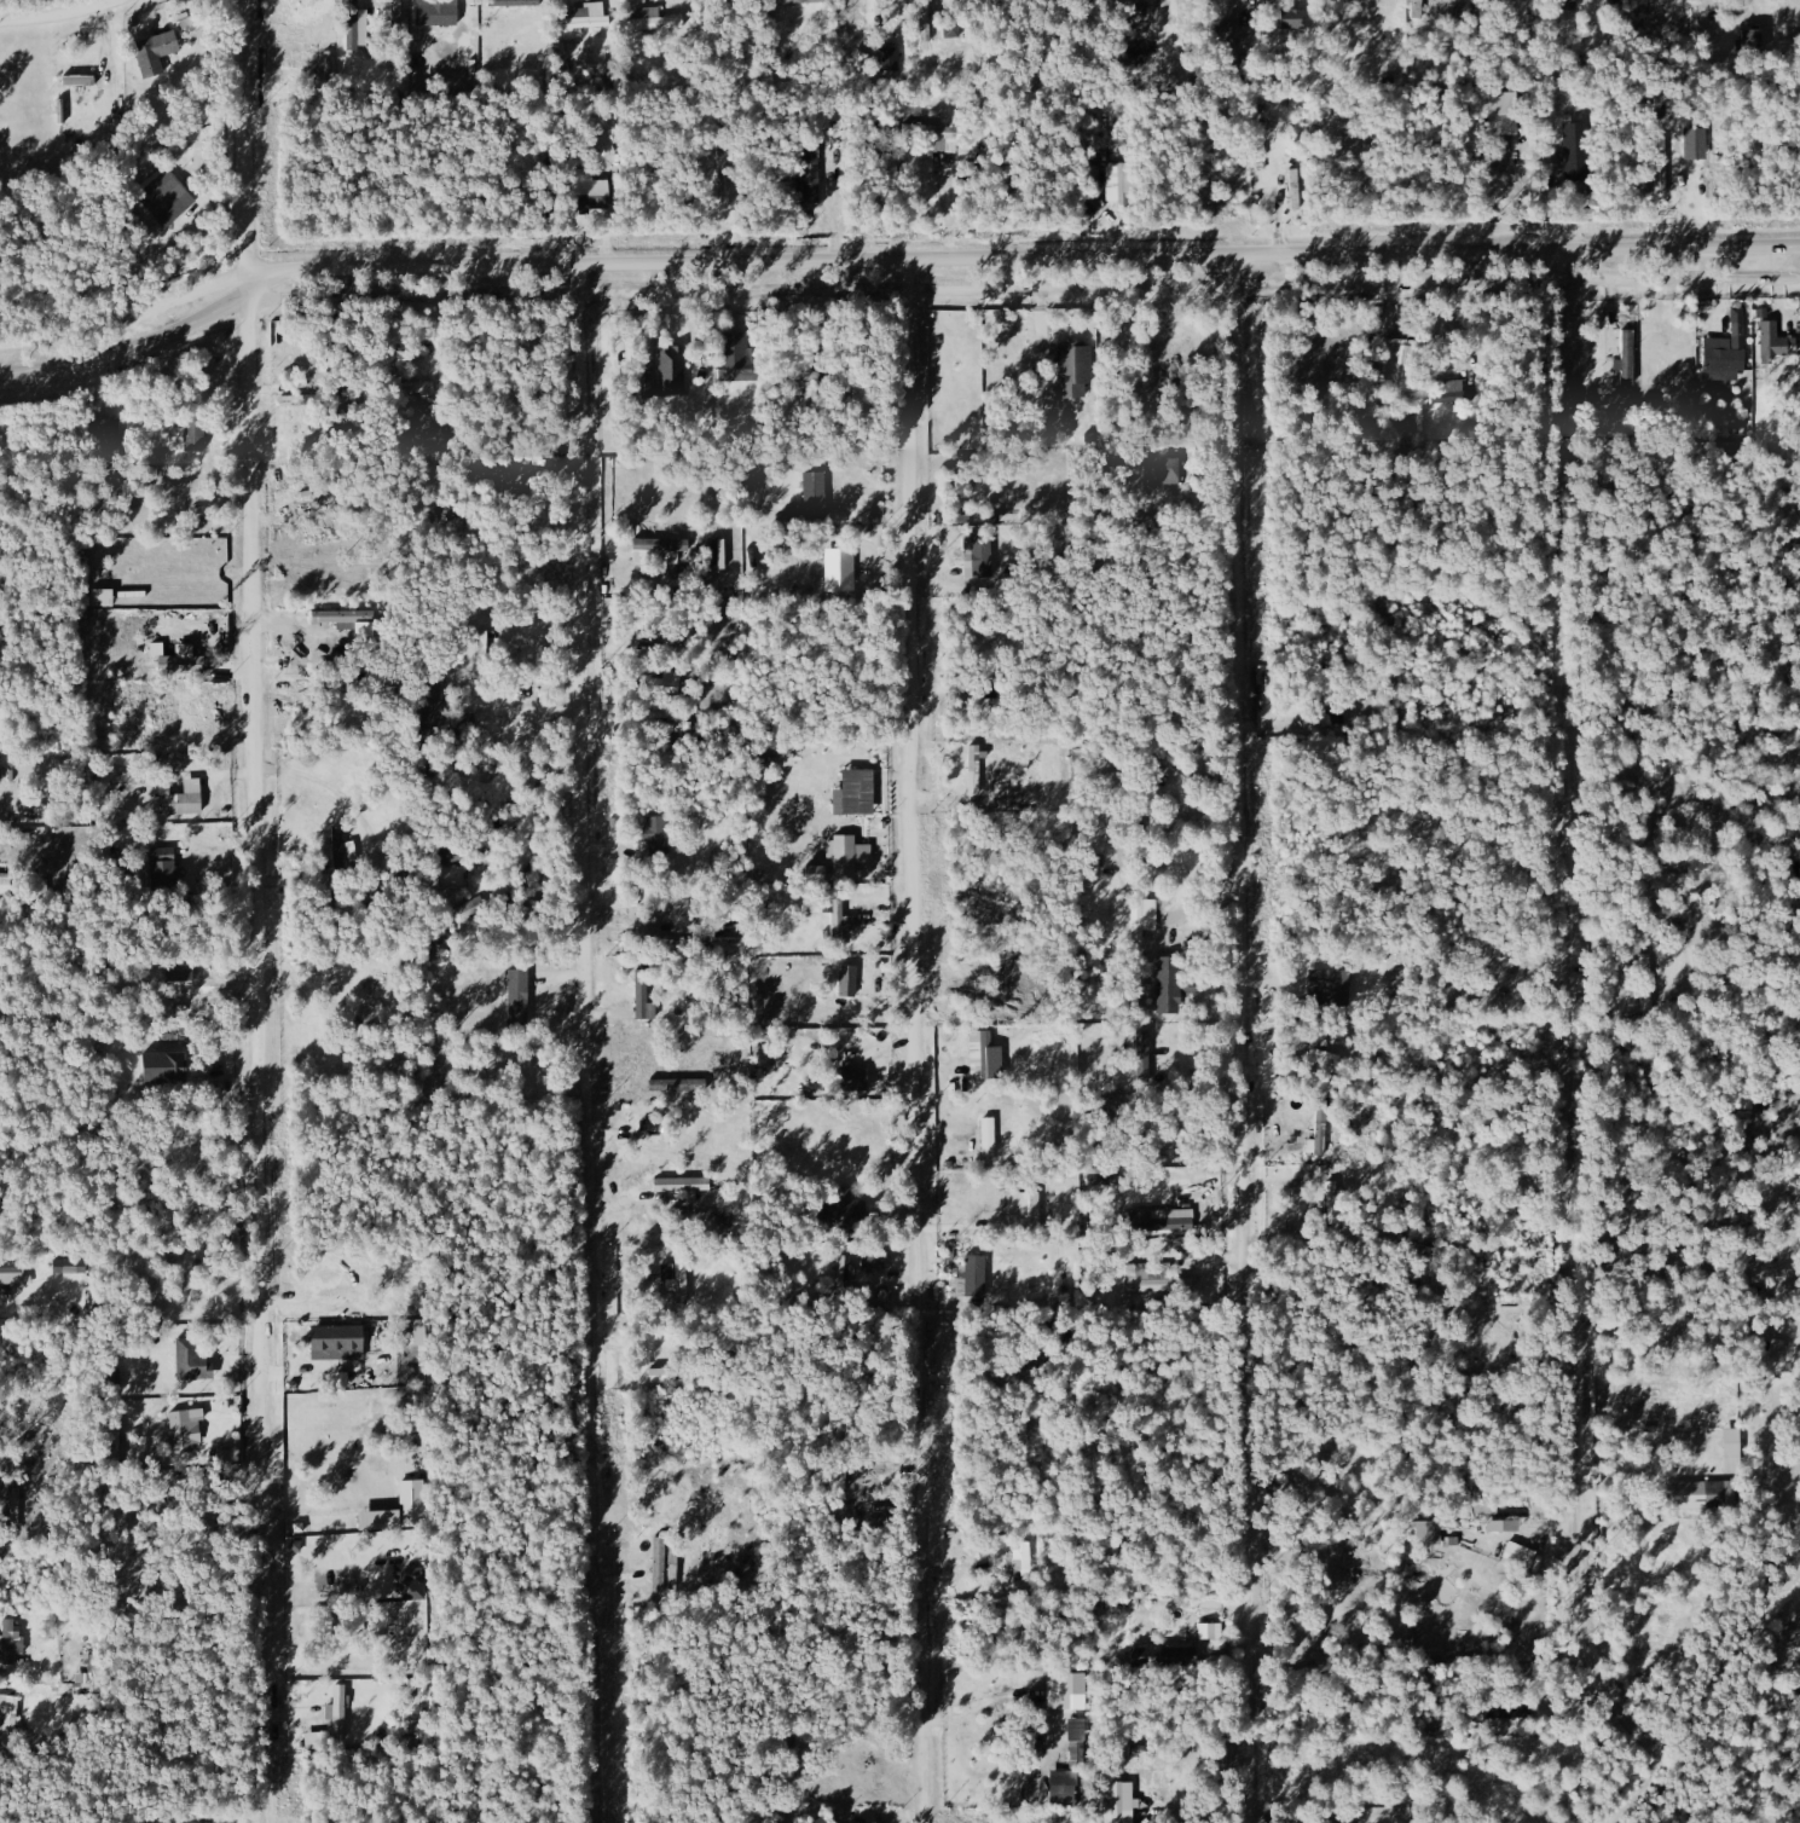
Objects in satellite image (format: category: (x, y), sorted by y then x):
building: (804, 1)
building: (515, 2)
building: (1568, 5)
road: (48, 8)
building: (1418, 8)
building: (436, 15)
building: (588, 17)
building: (654, 21)
building: (926, 22)
building: (353, 25)
building: (953, 27)
building: (1235, 33)
building: (1748, 41)
building: (155, 50)
building: (890, 58)
building: (79, 80)
building: (1501, 103)
building: (936, 135)
building: (1574, 152)
building: (812, 170)
building: (1119, 183)
building: (590, 184)
building: (1297, 189)
building: (168, 195)
road: (893, 254)
road: (895, 290)
building: (1776, 343)
building: (1724, 358)
building: (1627, 360)
building: (1403, 363)
building: (739, 368)
building: (672, 370)
building: (1072, 370)
building: (195, 434)
building: (104, 436)
building: (1162, 470)
building: (491, 474)
building: (815, 494)
building: (659, 550)
building: (718, 554)
building: (994, 556)
building: (845, 566)
building: (102, 598)
building: (349, 620)
building: (176, 662)
building: (658, 713)
building: (758, 787)
building: (858, 792)
building: (179, 803)
building: (655, 833)
building: (337, 850)
building: (847, 856)
building: (448, 861)
building: (163, 874)
building: (4, 885)
road: (260, 910)
building: (1144, 915)
building: (838, 921)
building: (849, 980)
building: (1646, 982)
building: (1168, 984)
building: (1338, 988)
building: (519, 997)
road: (1570, 1020)
road: (916, 1037)
road: (1245, 1053)
building: (984, 1055)
road: (589, 1058)
building: (162, 1064)
building: (852, 1080)
building: (1746, 1106)
building: (653, 1125)
building: (1320, 1132)
building: (989, 1134)
building: (1794, 1168)
building: (682, 1183)
building: (840, 1203)
building: (1024, 1209)
building: (74, 1264)
building: (11, 1273)
building: (976, 1275)
building: (677, 1278)
building: (1153, 1278)
building: (336, 1342)
building: (191, 1359)
building: (662, 1375)
building: (114, 1378)
building: (186, 1428)
building: (1732, 1442)
building: (1704, 1494)
building: (400, 1510)
building: (1428, 1533)
building: (660, 1552)
building: (1521, 1556)
building: (1025, 1561)
building: (1211, 1631)
building: (11, 1639)
building: (1168, 1655)
building: (1066, 1684)
road: (1704, 1691)
building: (338, 1712)
building: (8, 1715)
building: (1065, 1790)
building: (1123, 1801)
building: (1318, 1822)

